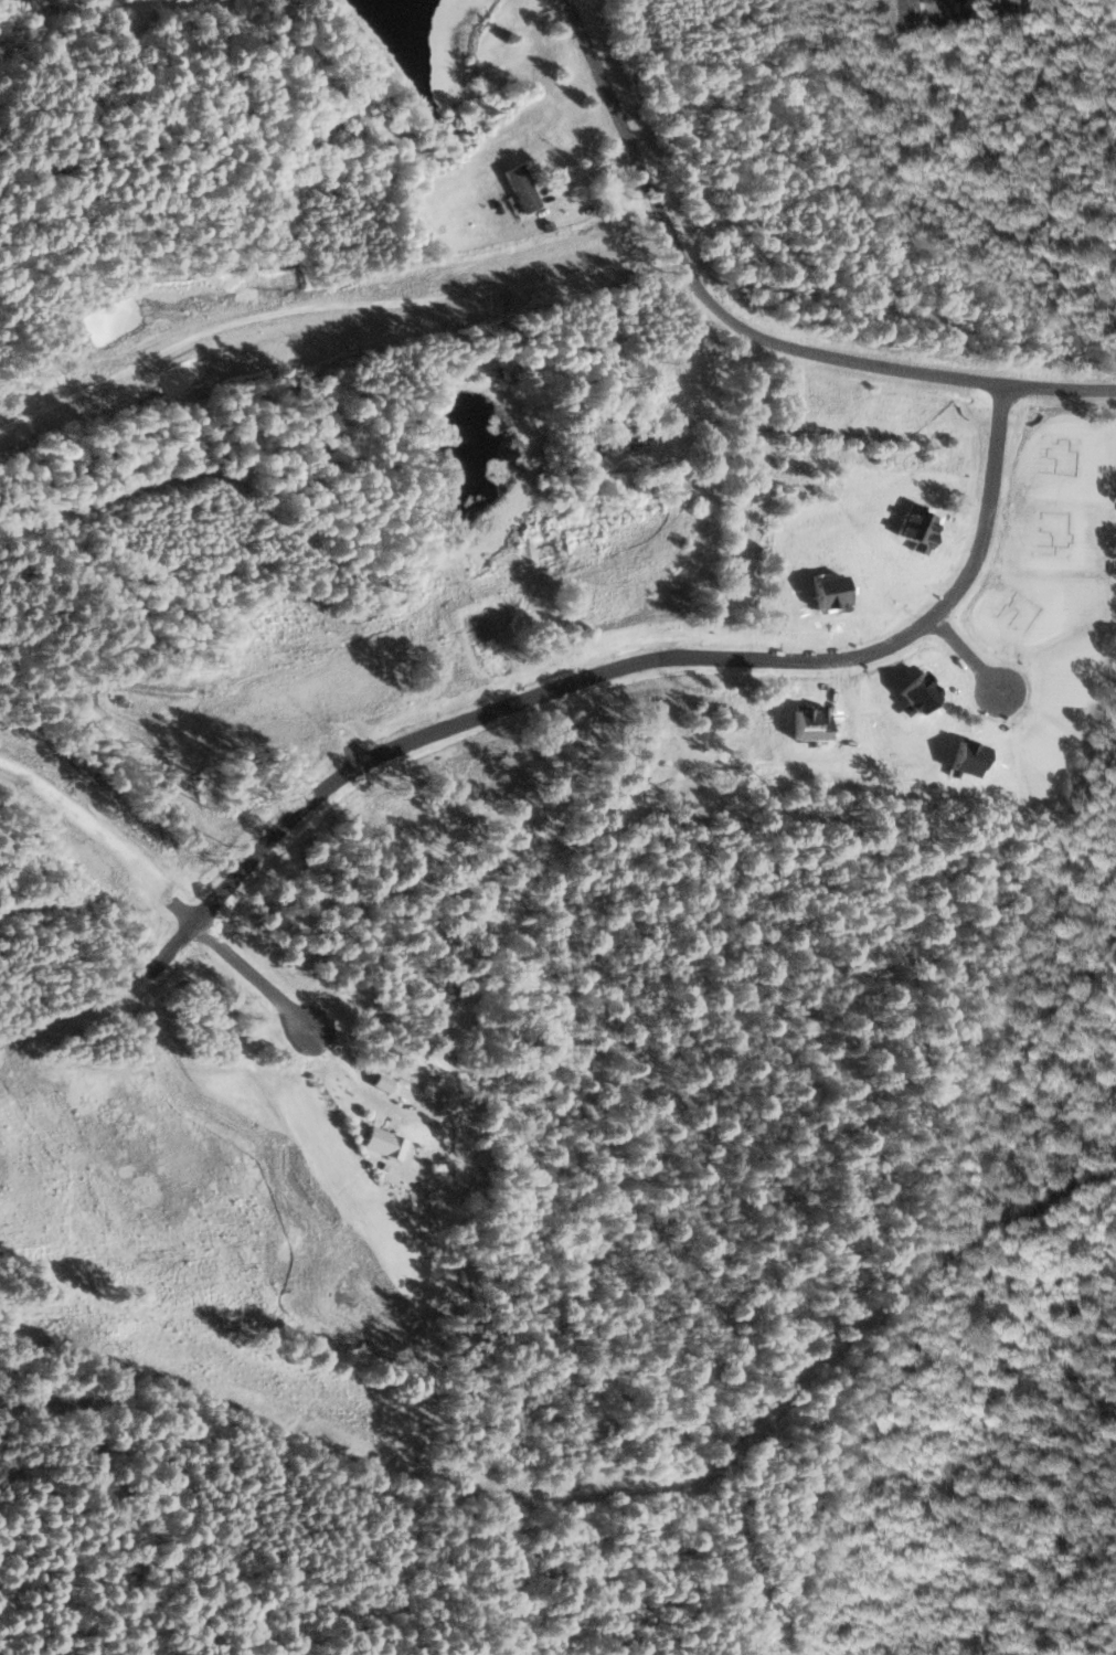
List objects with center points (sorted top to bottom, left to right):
building: (914, 13)
building: (522, 187)
road: (741, 333)
road: (731, 761)
building: (383, 1082)
building: (384, 1143)
road: (203, 1562)

